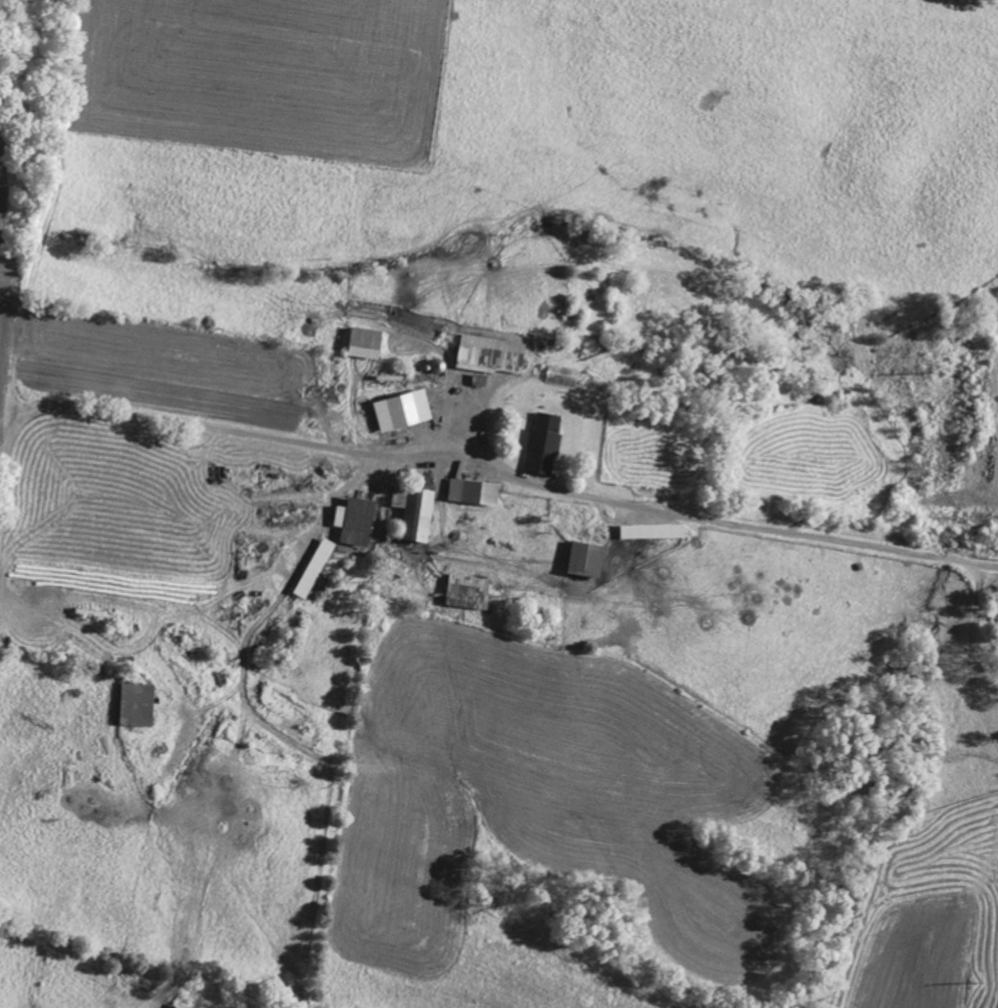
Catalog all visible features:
building: (366, 342)
building: (492, 354)
building: (406, 410)
road: (172, 423)
building: (545, 443)
building: (474, 491)
building: (417, 510)
building: (357, 521)
building: (655, 531)
building: (589, 559)
building: (316, 568)
building: (471, 591)
building: (183, 1006)

